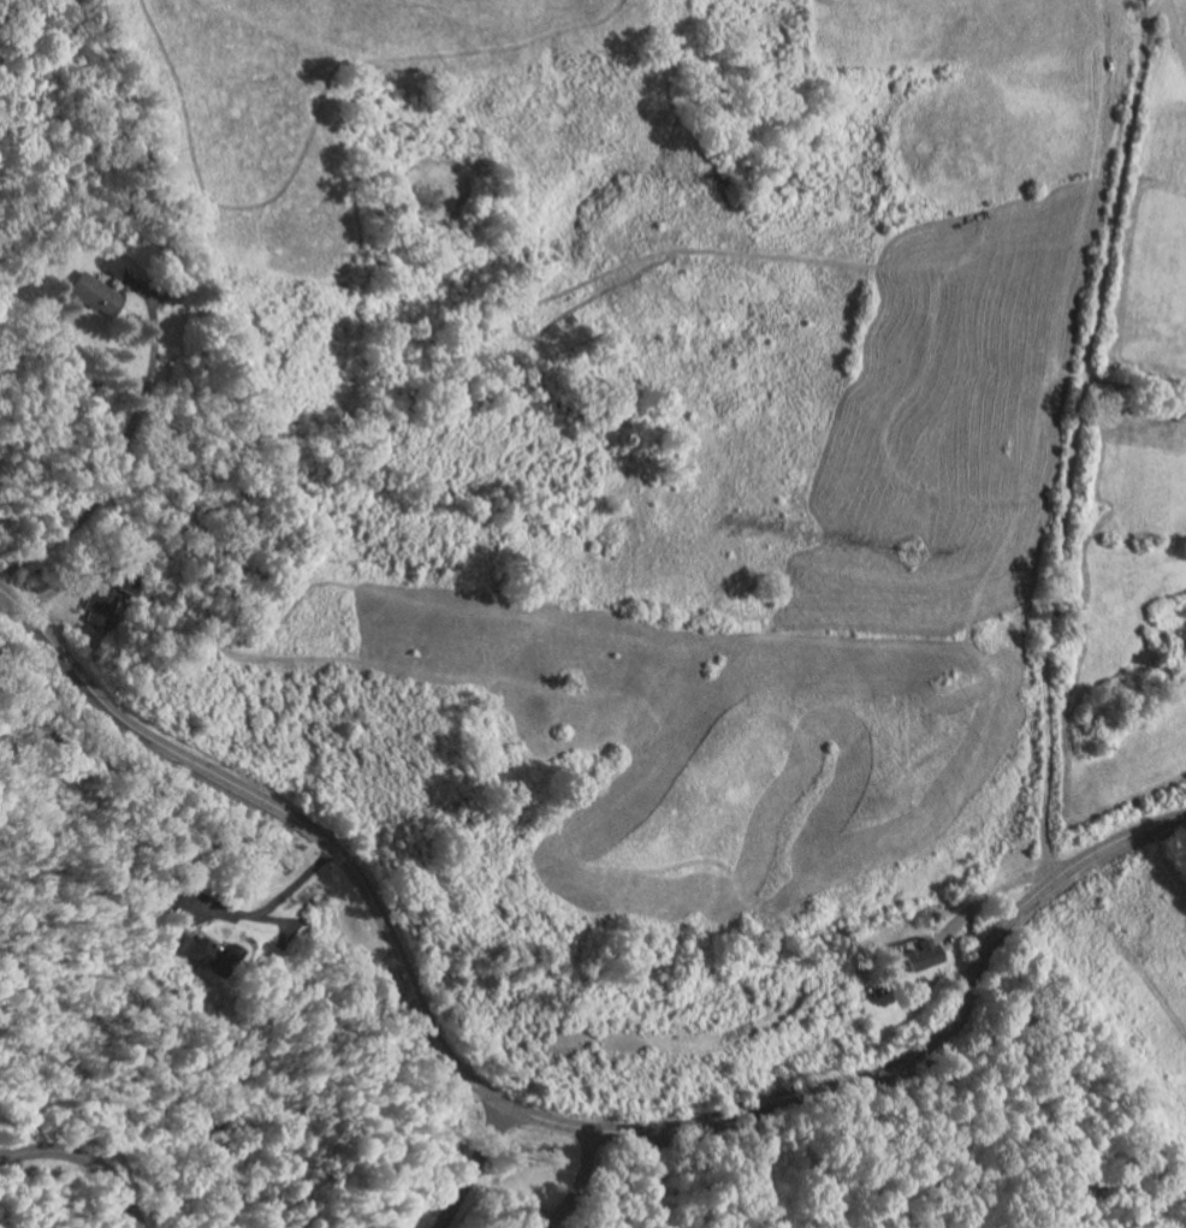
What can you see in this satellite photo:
building: (89, 293)
road: (1073, 440)
road: (115, 457)
power tower: (806, 534)
power tower: (912, 554)
building: (101, 609)
road: (274, 898)
building: (195, 950)
building: (913, 956)
road: (529, 1115)
road: (84, 1161)
road: (473, 1168)
road: (577, 1182)

